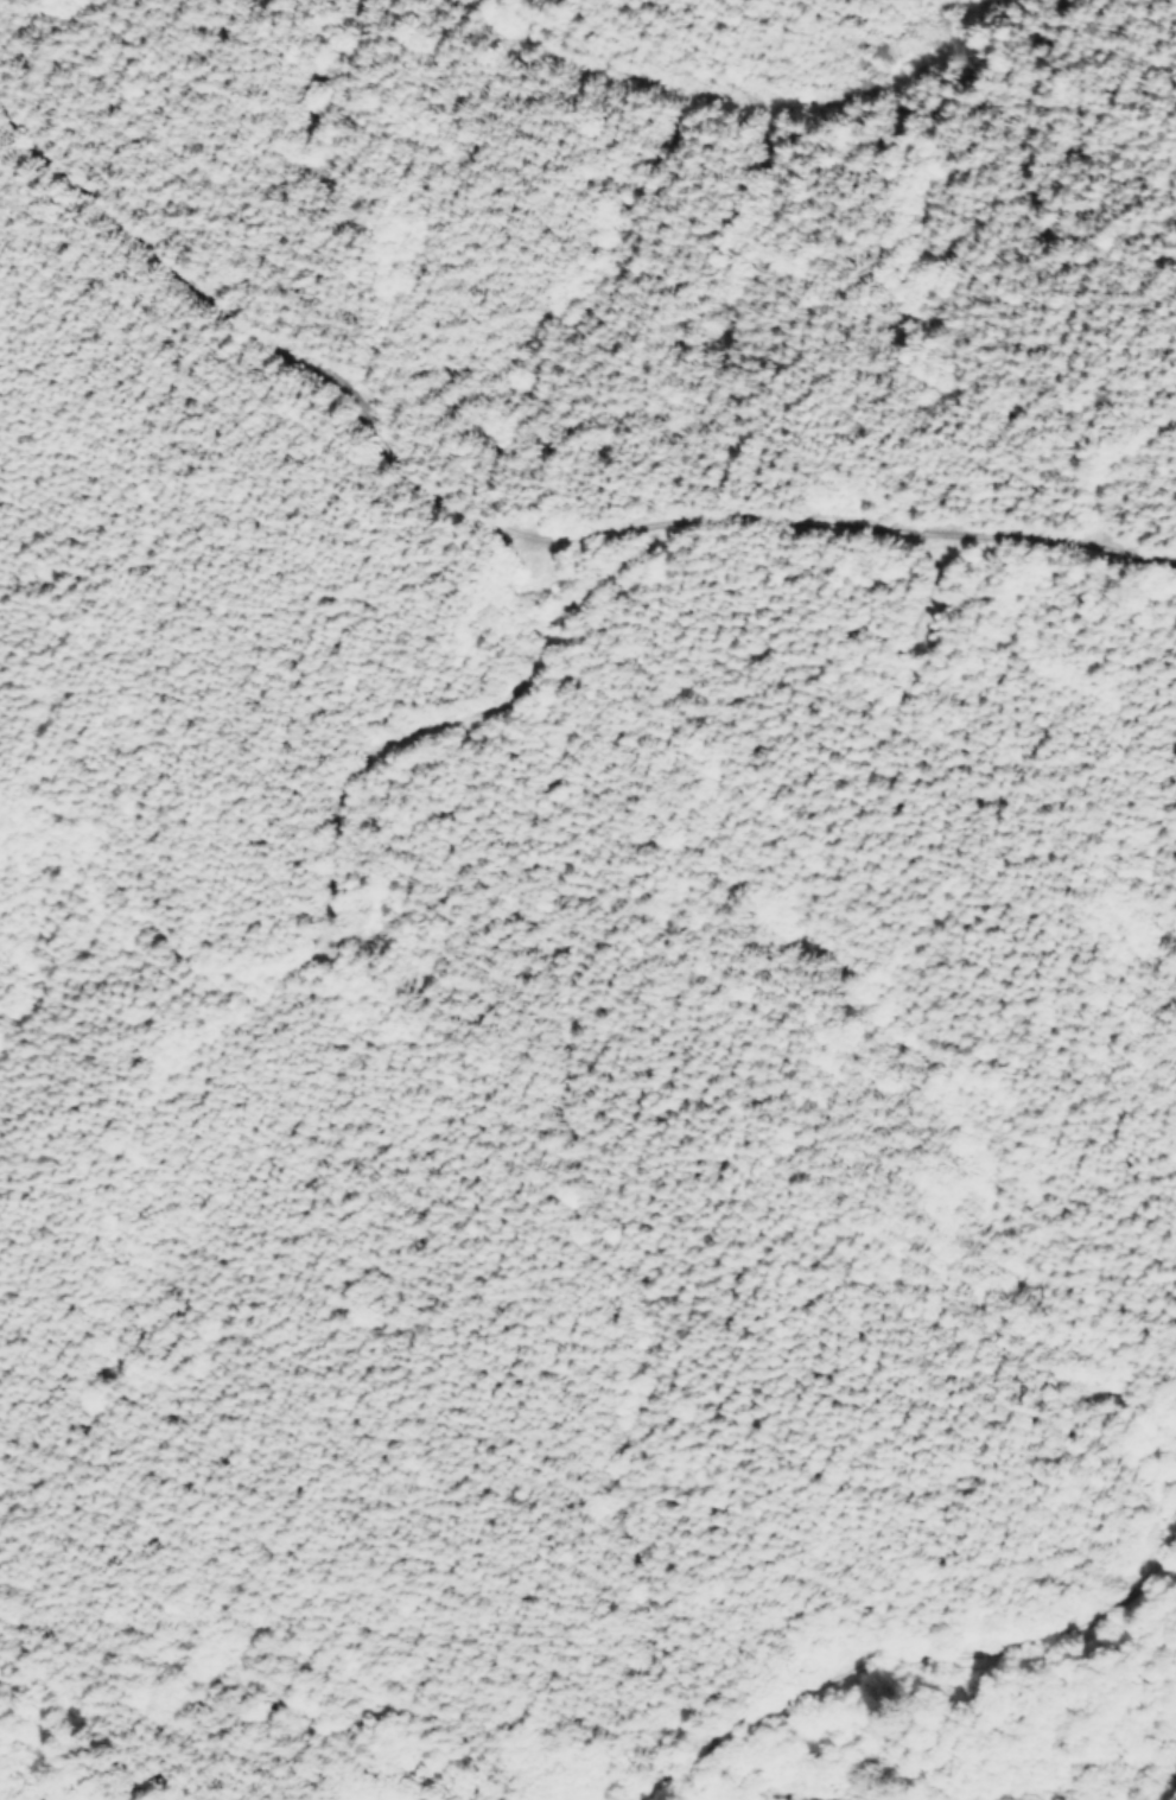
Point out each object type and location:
road: (663, 1691)

